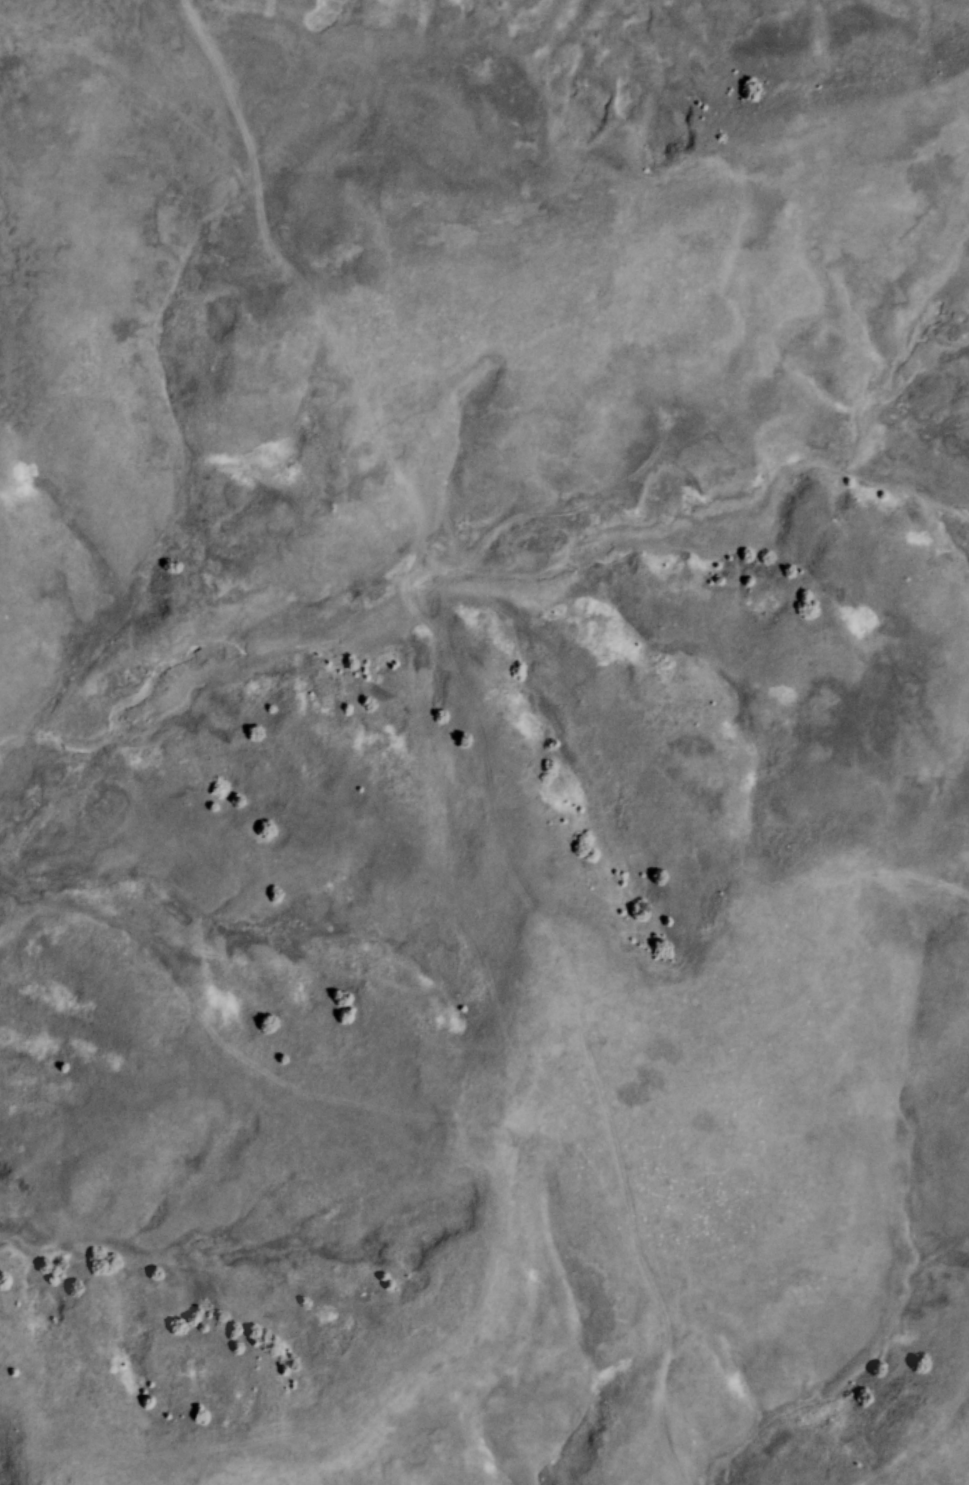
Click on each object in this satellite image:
road: (124, 80)
road: (471, 723)
road: (320, 1108)

